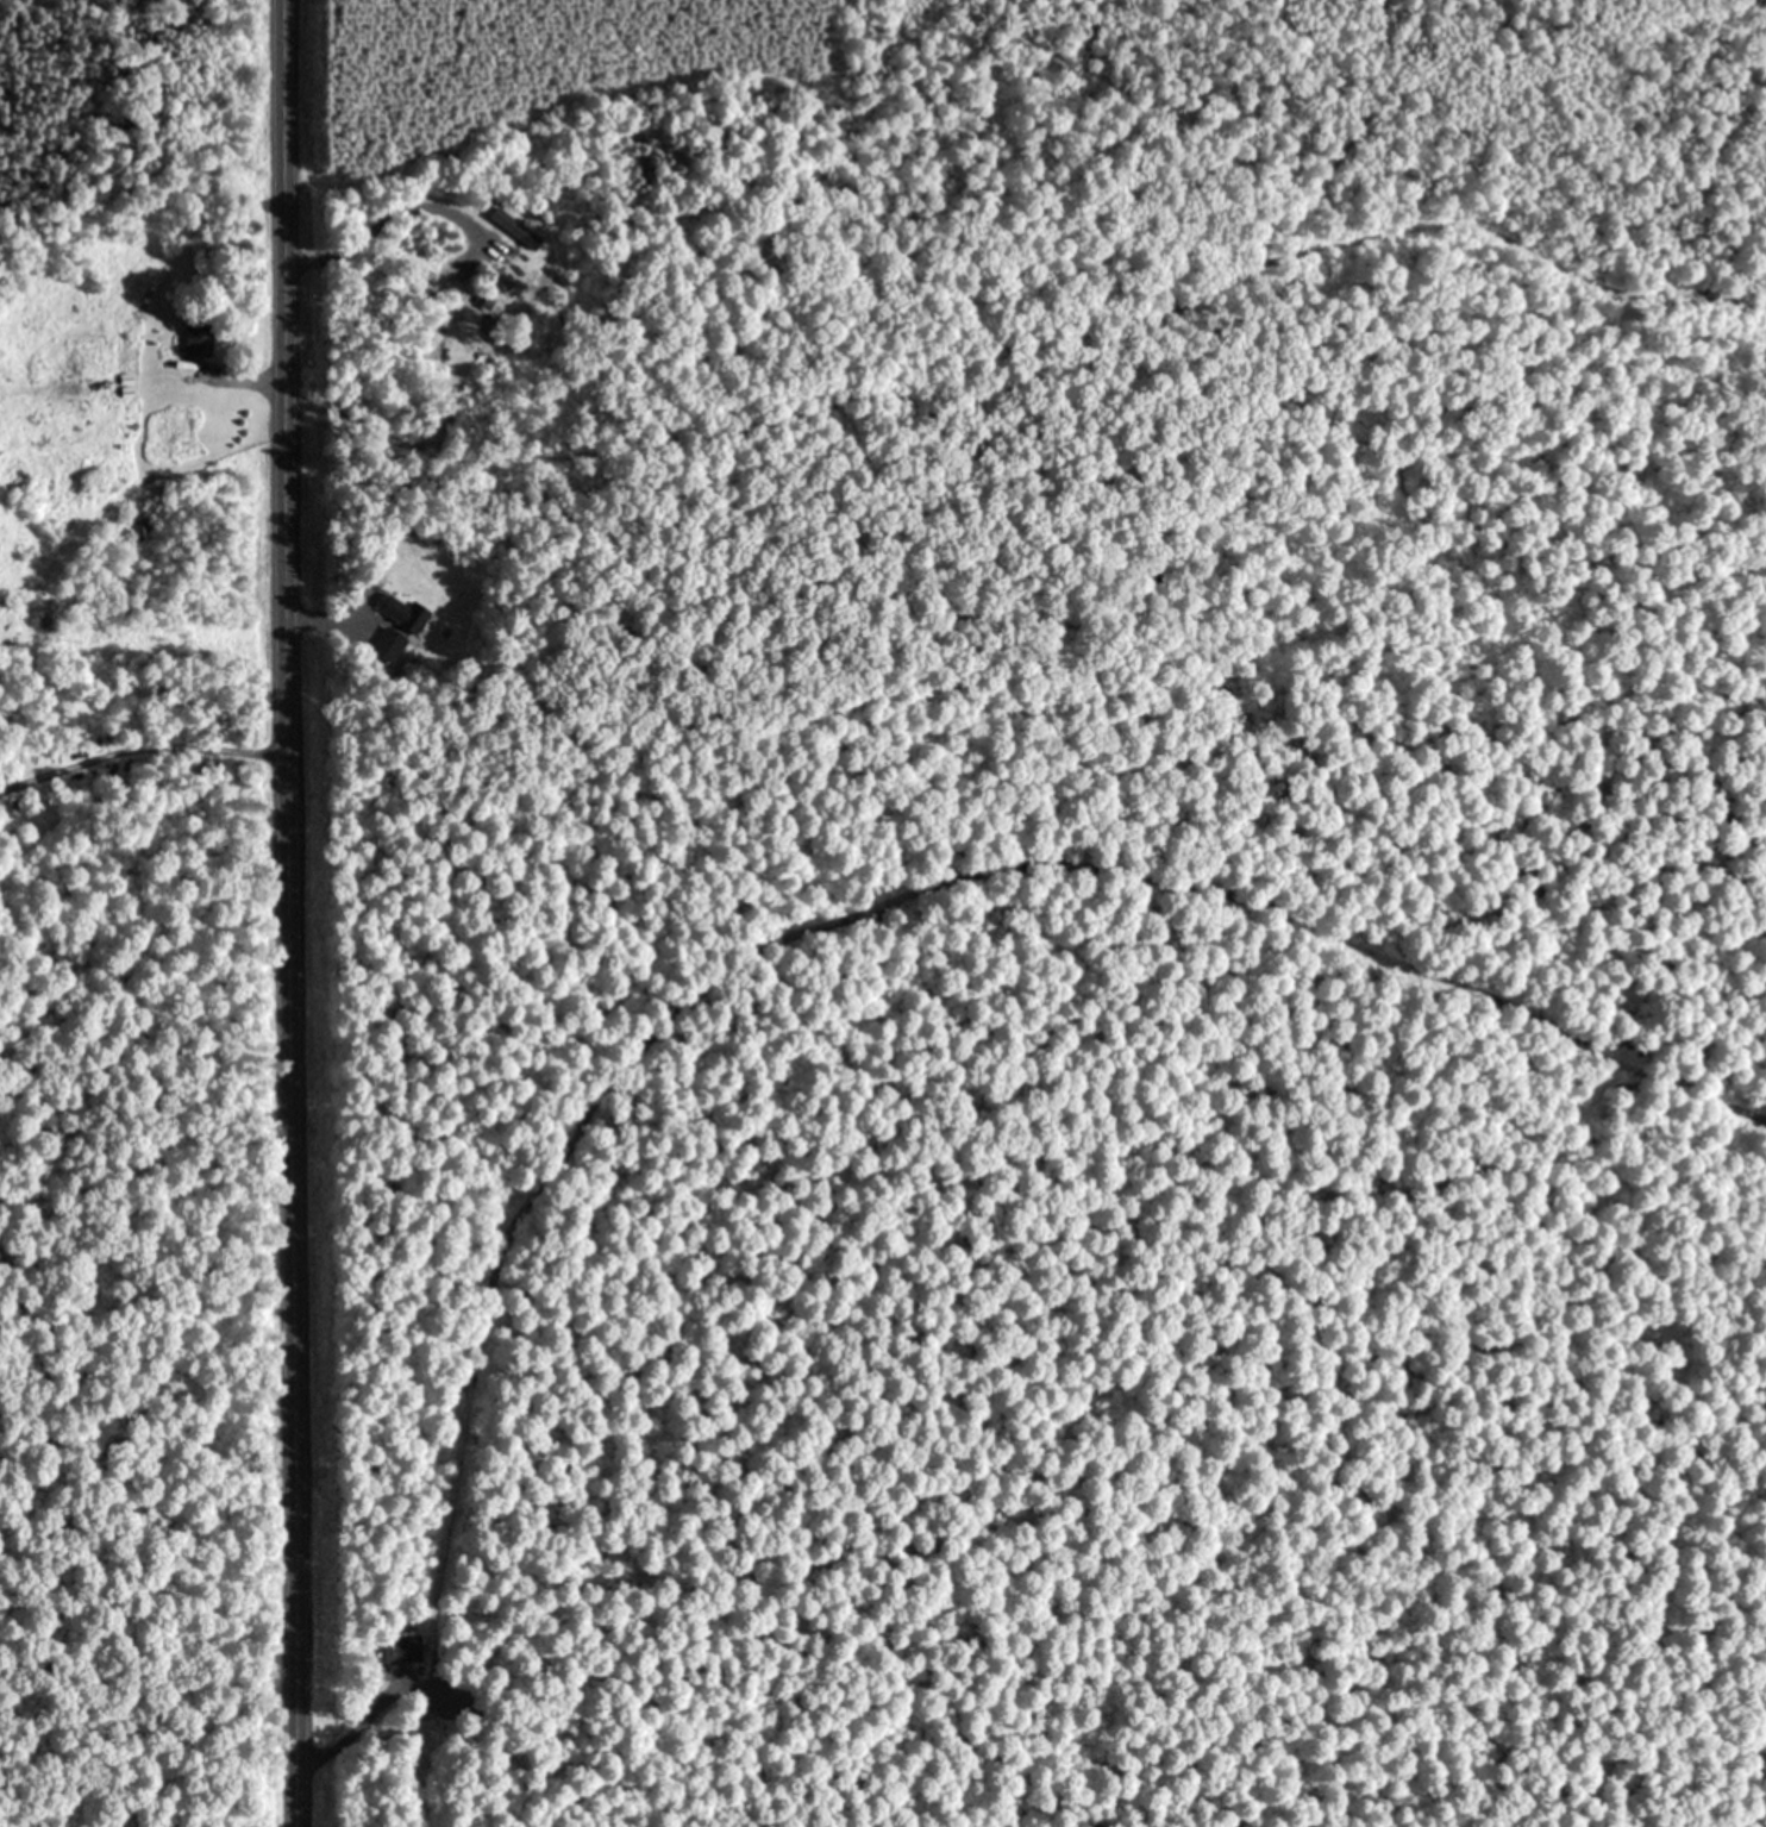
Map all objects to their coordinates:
road: (382, 213)
building: (512, 227)
building: (198, 334)
road: (249, 380)
building: (138, 528)
building: (399, 611)
road: (314, 617)
road: (284, 913)

